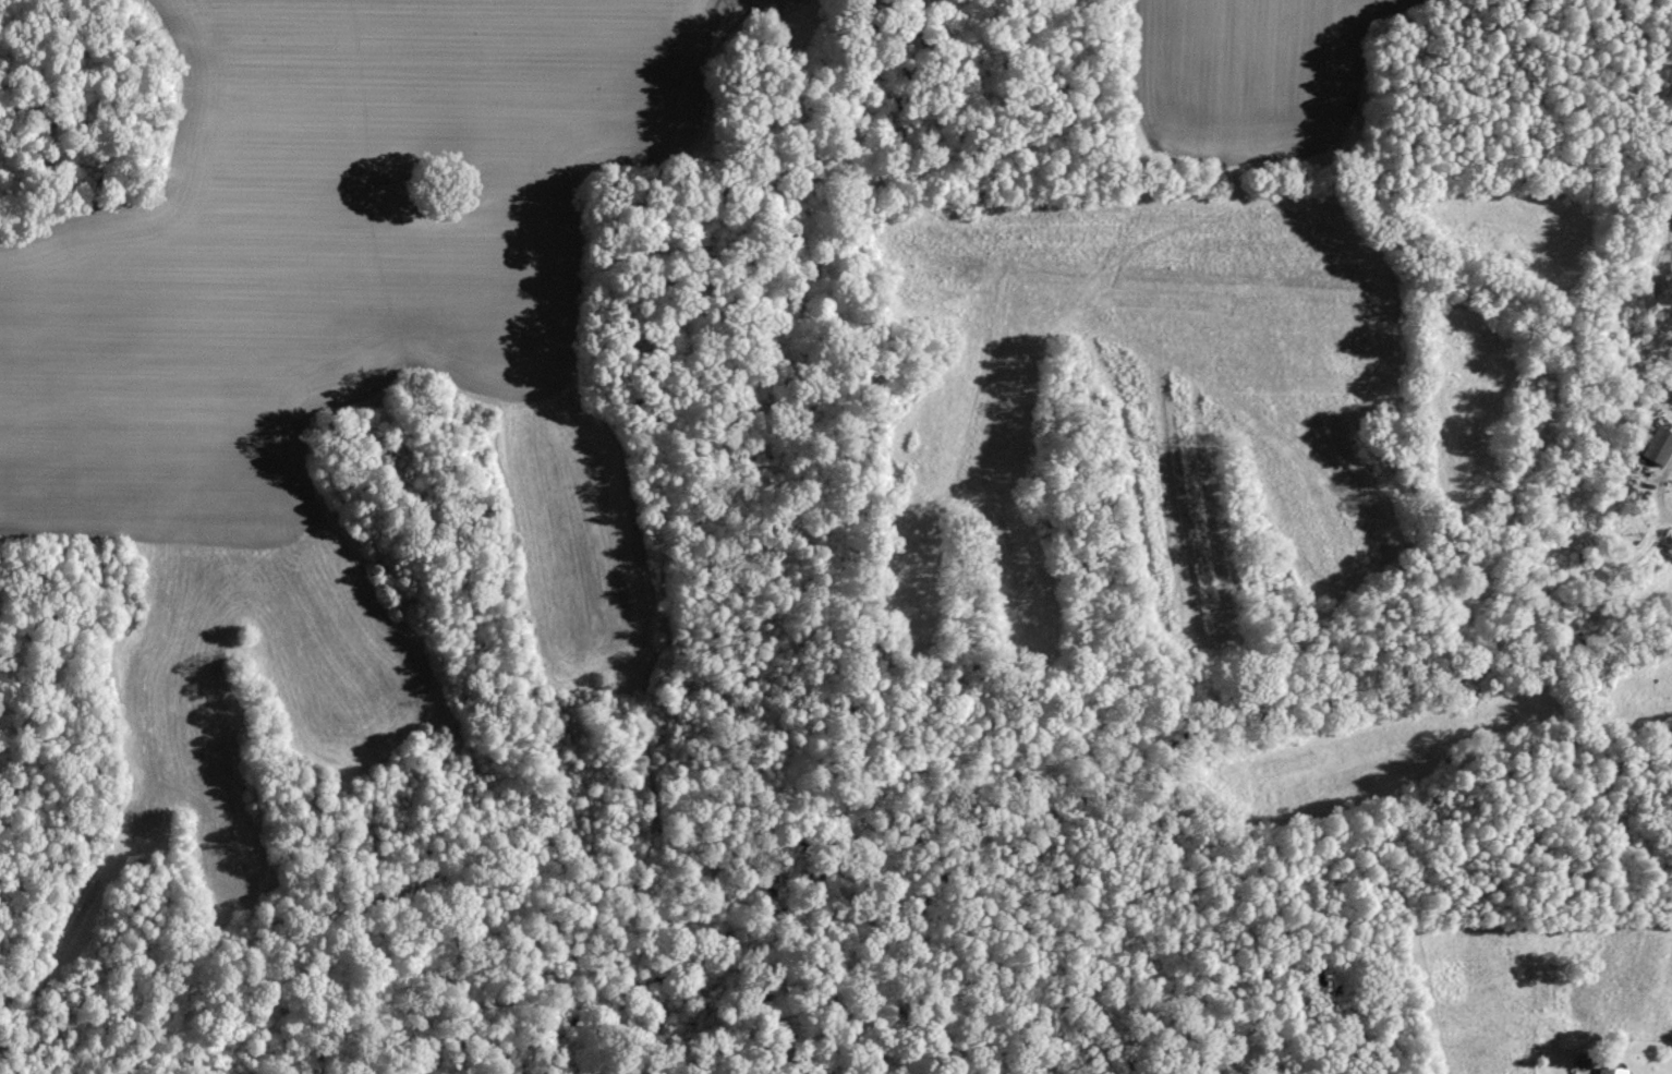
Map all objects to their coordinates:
building: (1656, 447)
road: (1655, 499)
building: (1608, 1071)

